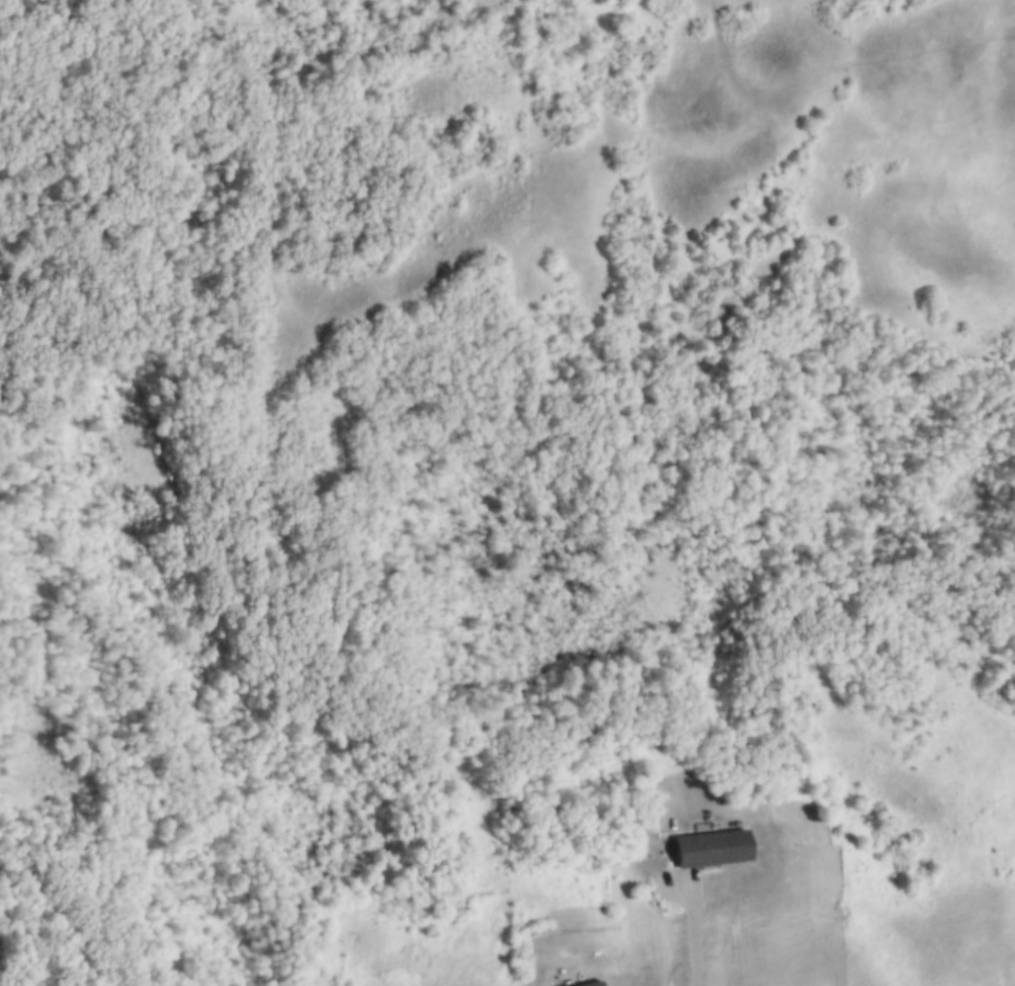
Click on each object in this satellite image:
building: (711, 846)
building: (541, 925)
building: (529, 929)
building: (584, 983)

